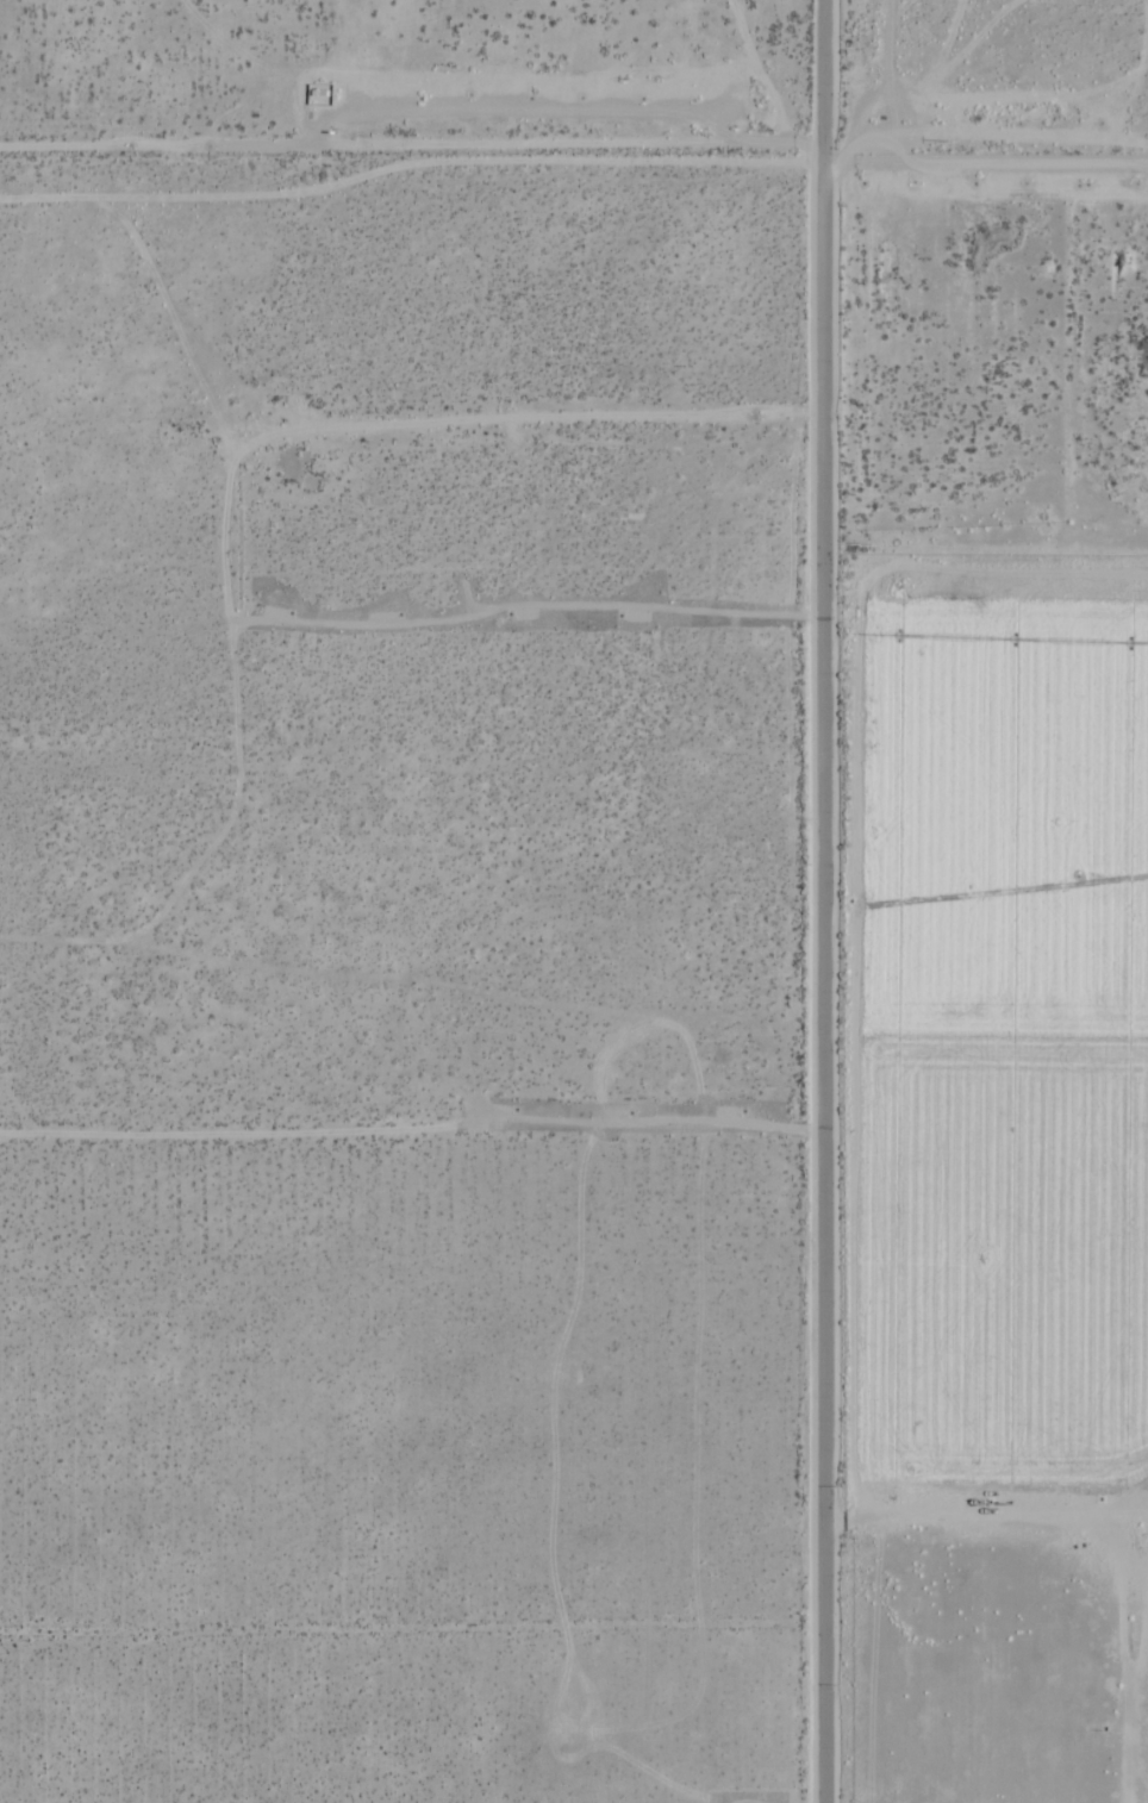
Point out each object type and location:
road: (984, 161)
road: (1144, 163)
road: (1144, 164)
crop: (1005, 805)
road: (826, 901)

